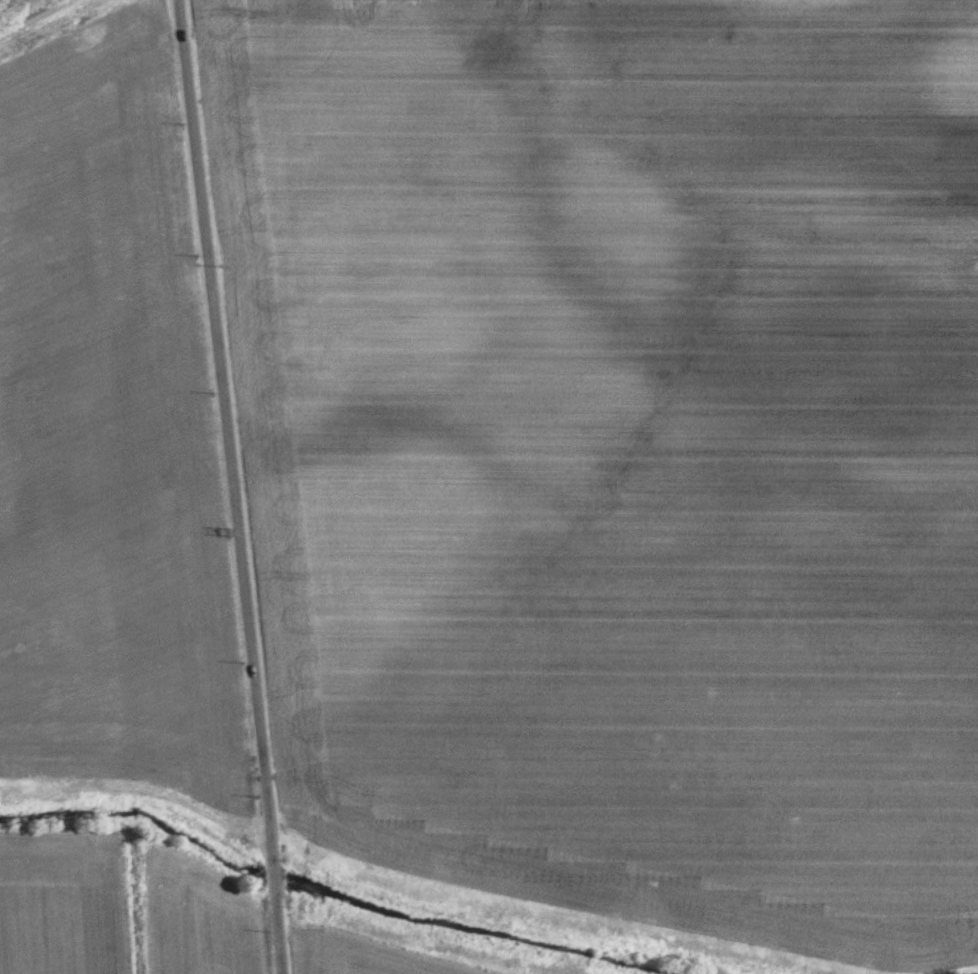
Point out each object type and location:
road: (20, 10)
road: (232, 486)

